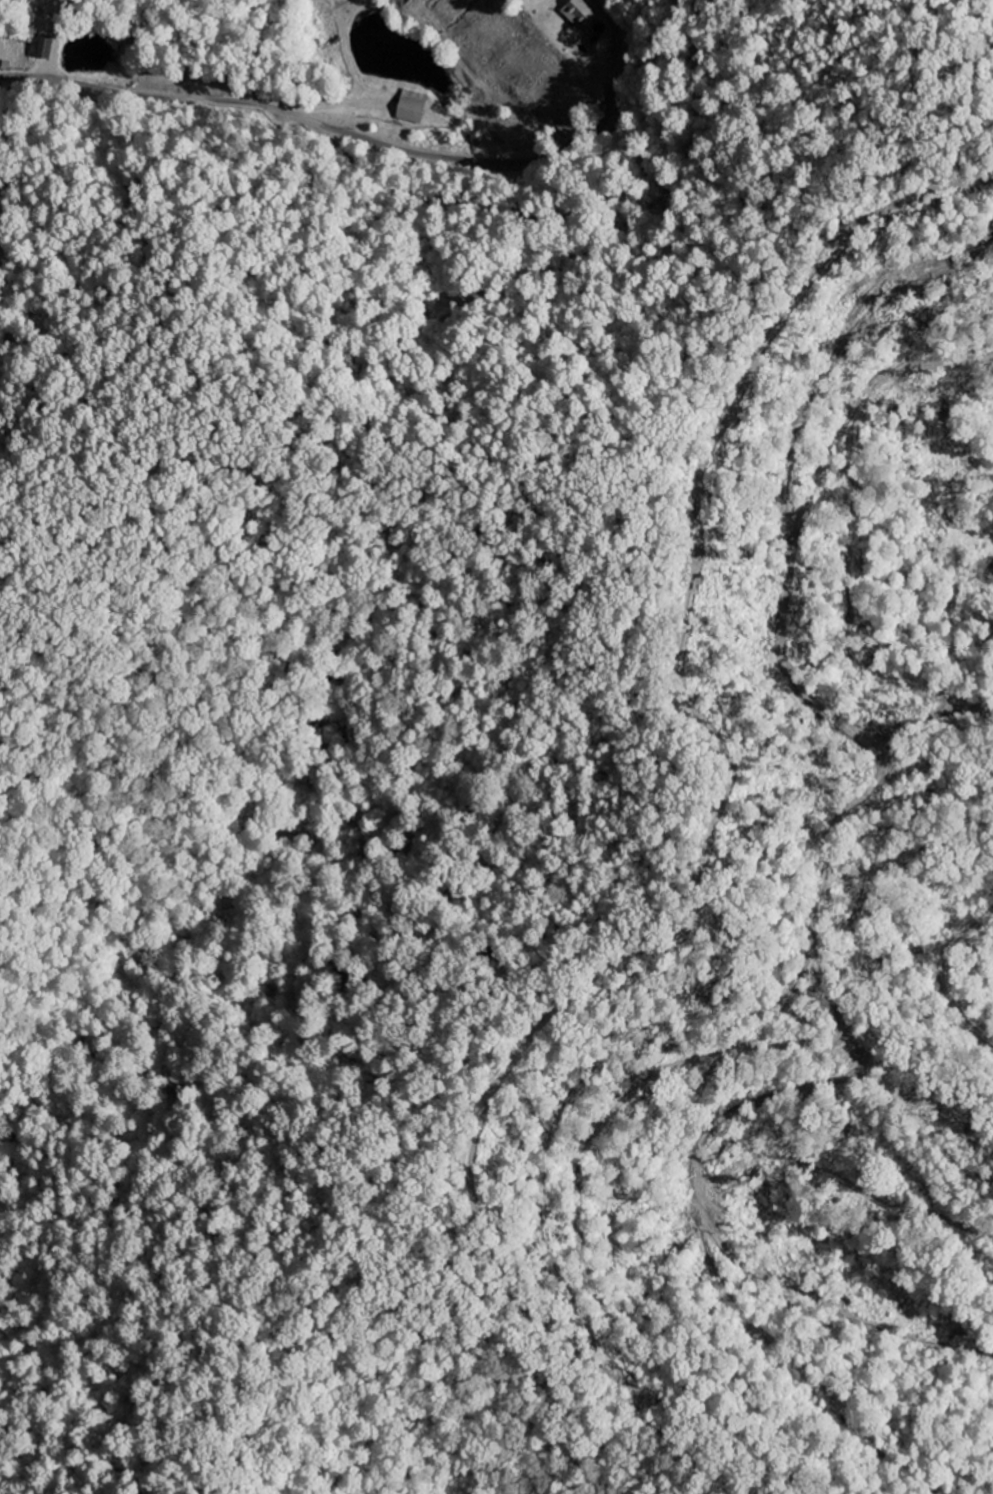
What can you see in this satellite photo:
building: (577, 14)
building: (410, 107)

